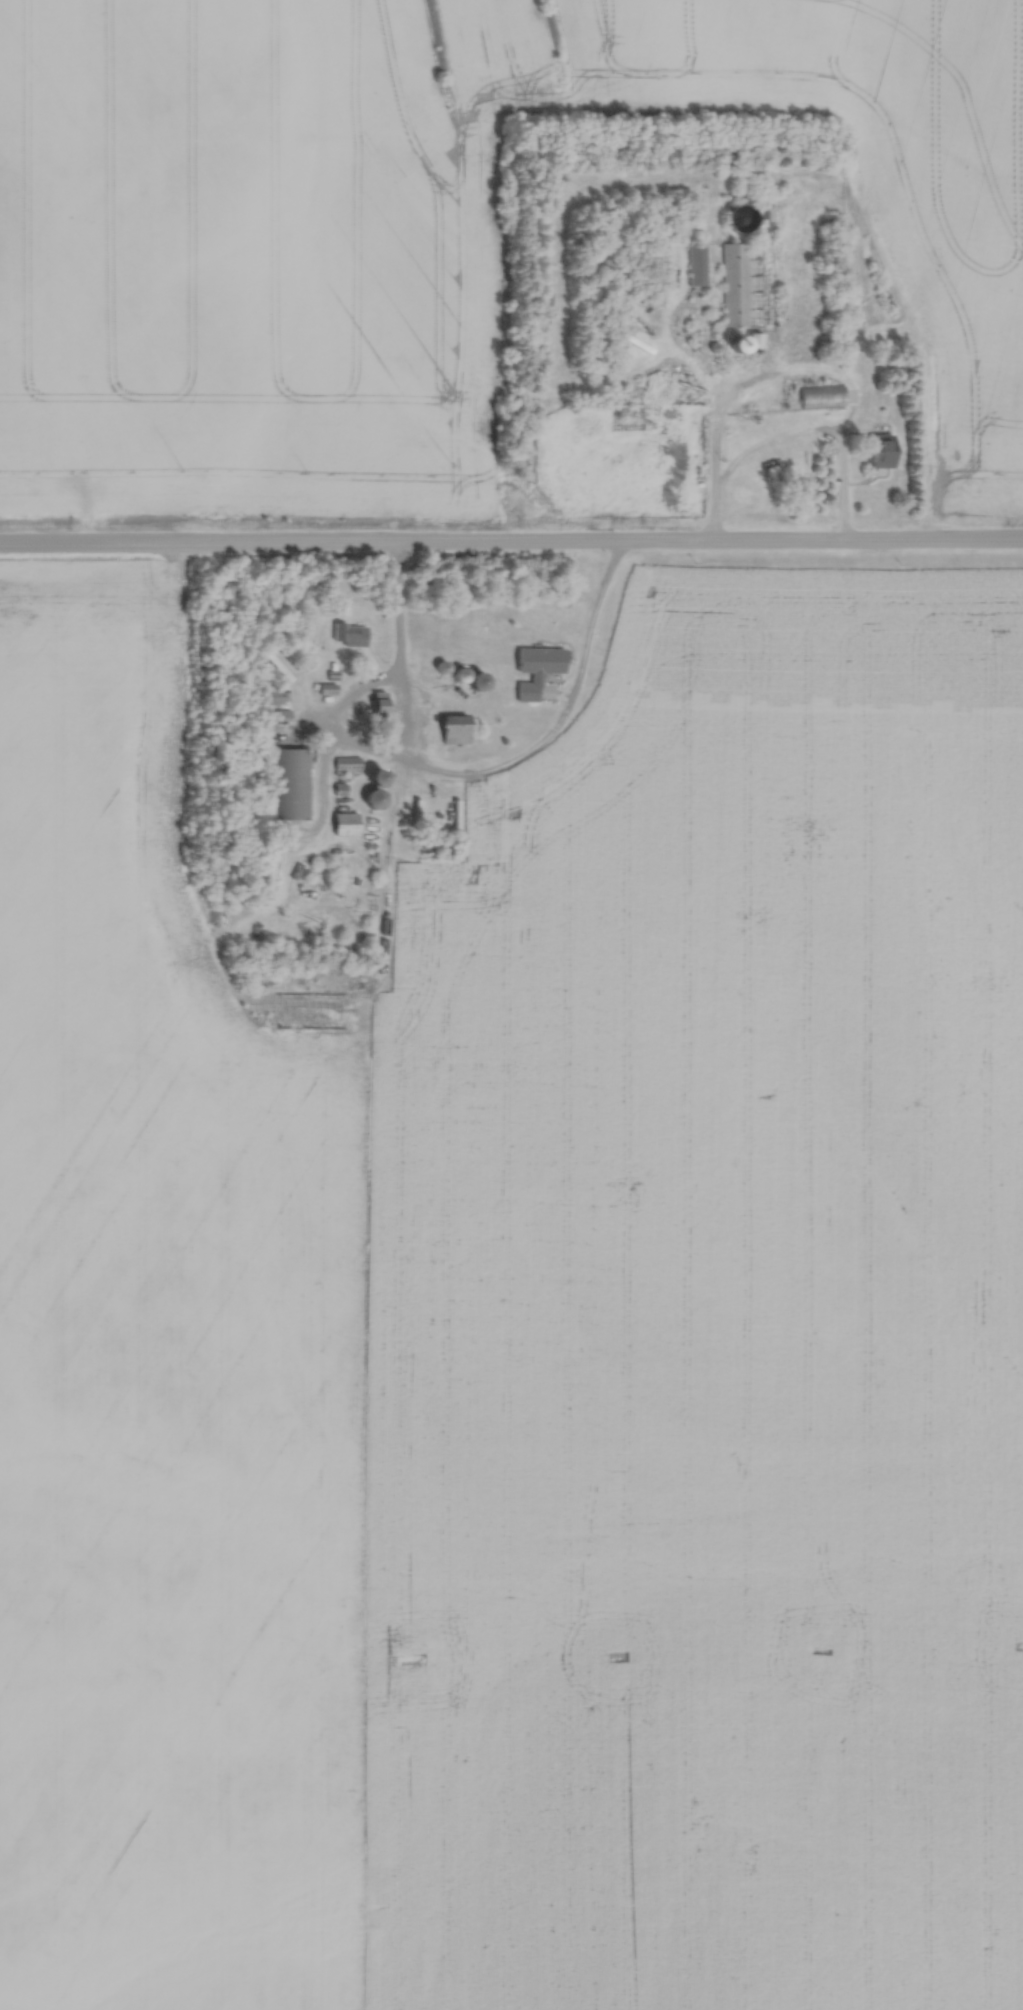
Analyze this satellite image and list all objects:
building: (732, 307)
building: (745, 339)
road: (795, 370)
building: (879, 449)
road: (511, 547)
building: (350, 633)
building: (277, 662)
building: (538, 672)
road: (485, 778)
building: (321, 1009)

